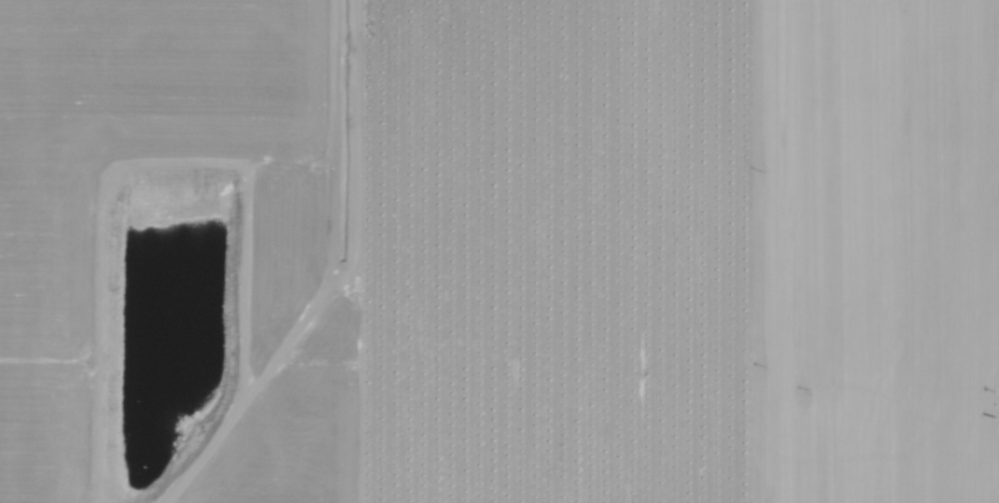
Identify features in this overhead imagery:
crop: (499, 251)
crop: (545, 252)

